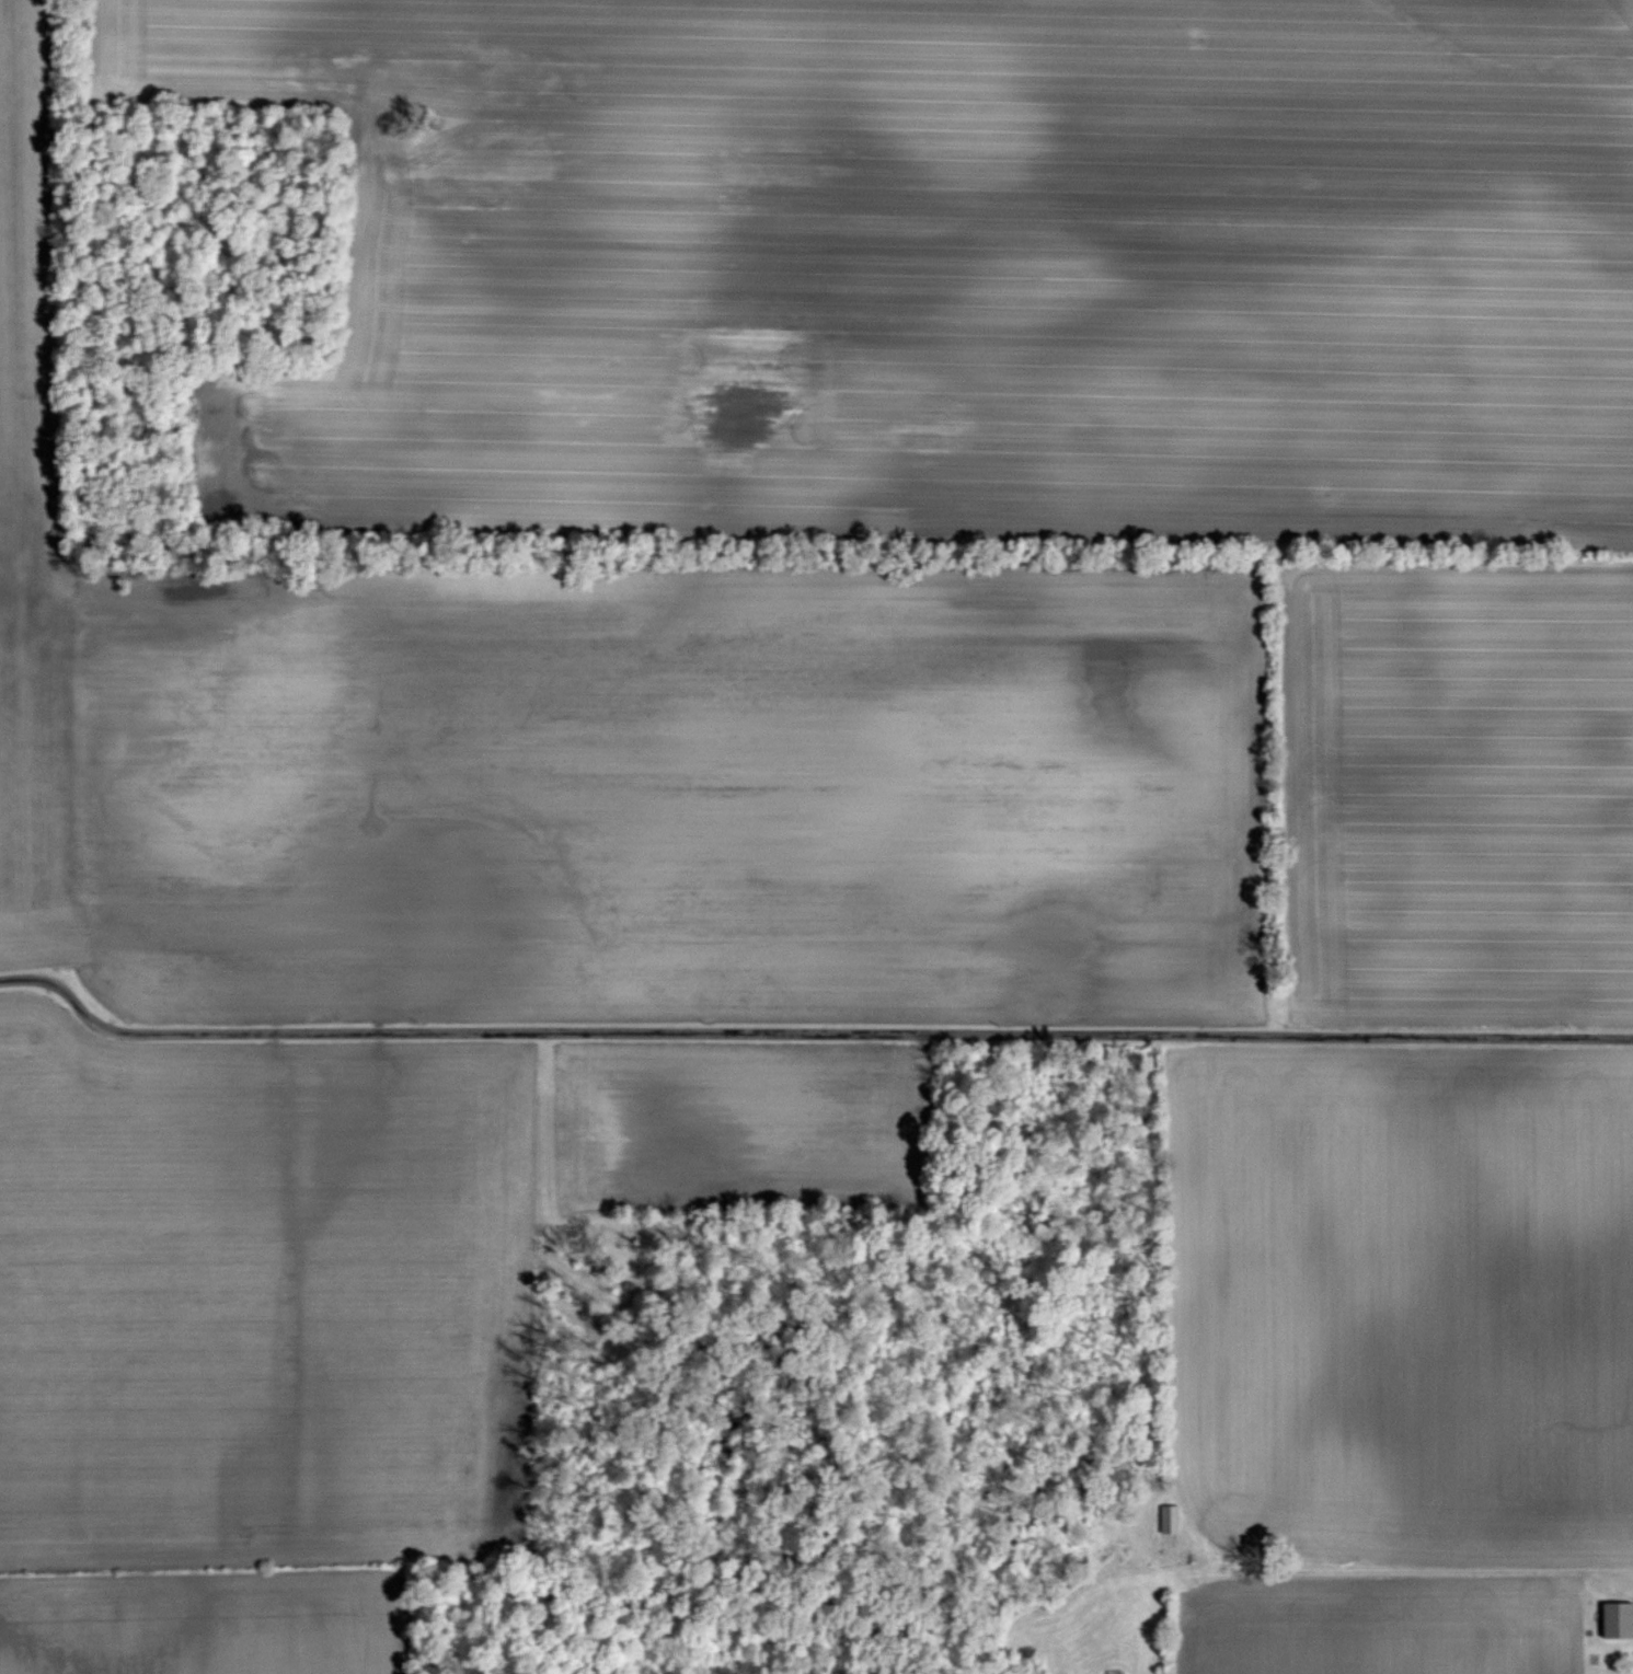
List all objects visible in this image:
road: (806, 1034)
building: (1172, 1521)
building: (1618, 1621)

